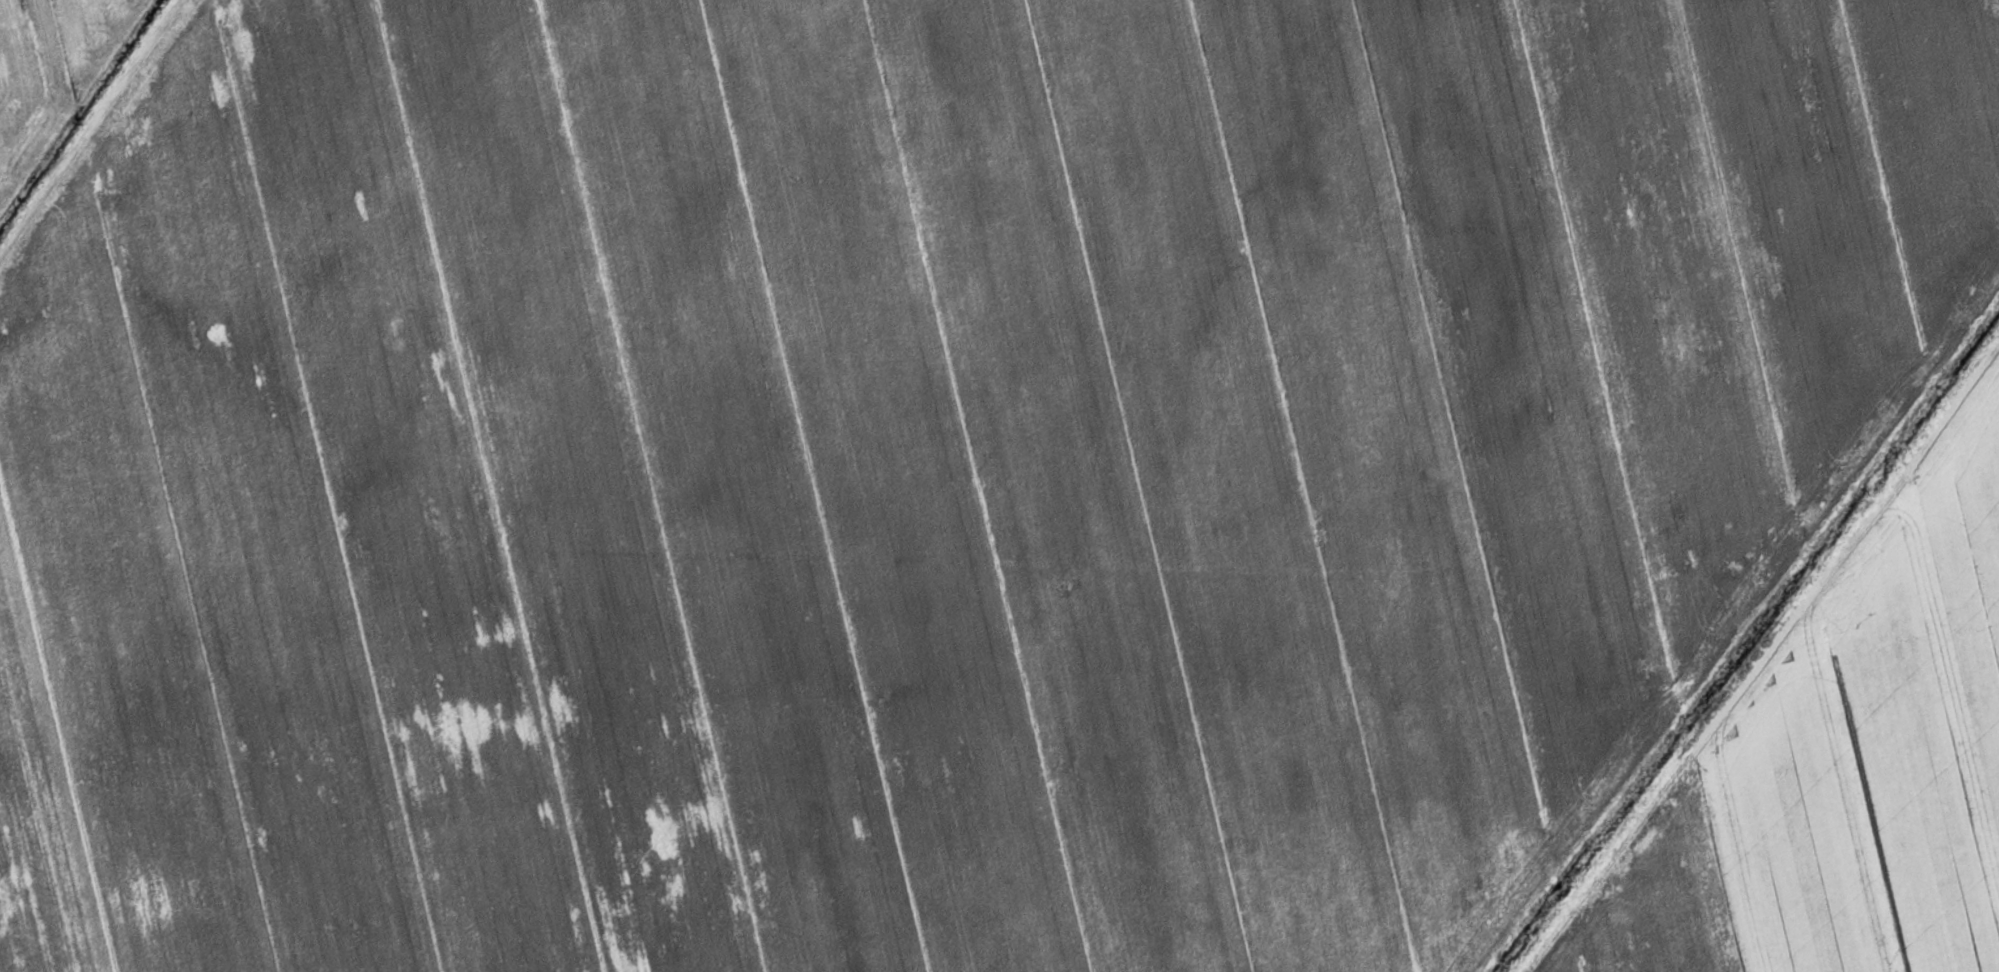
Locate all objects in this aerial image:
crop: (929, 465)
road: (1757, 654)
crop: (1839, 763)

